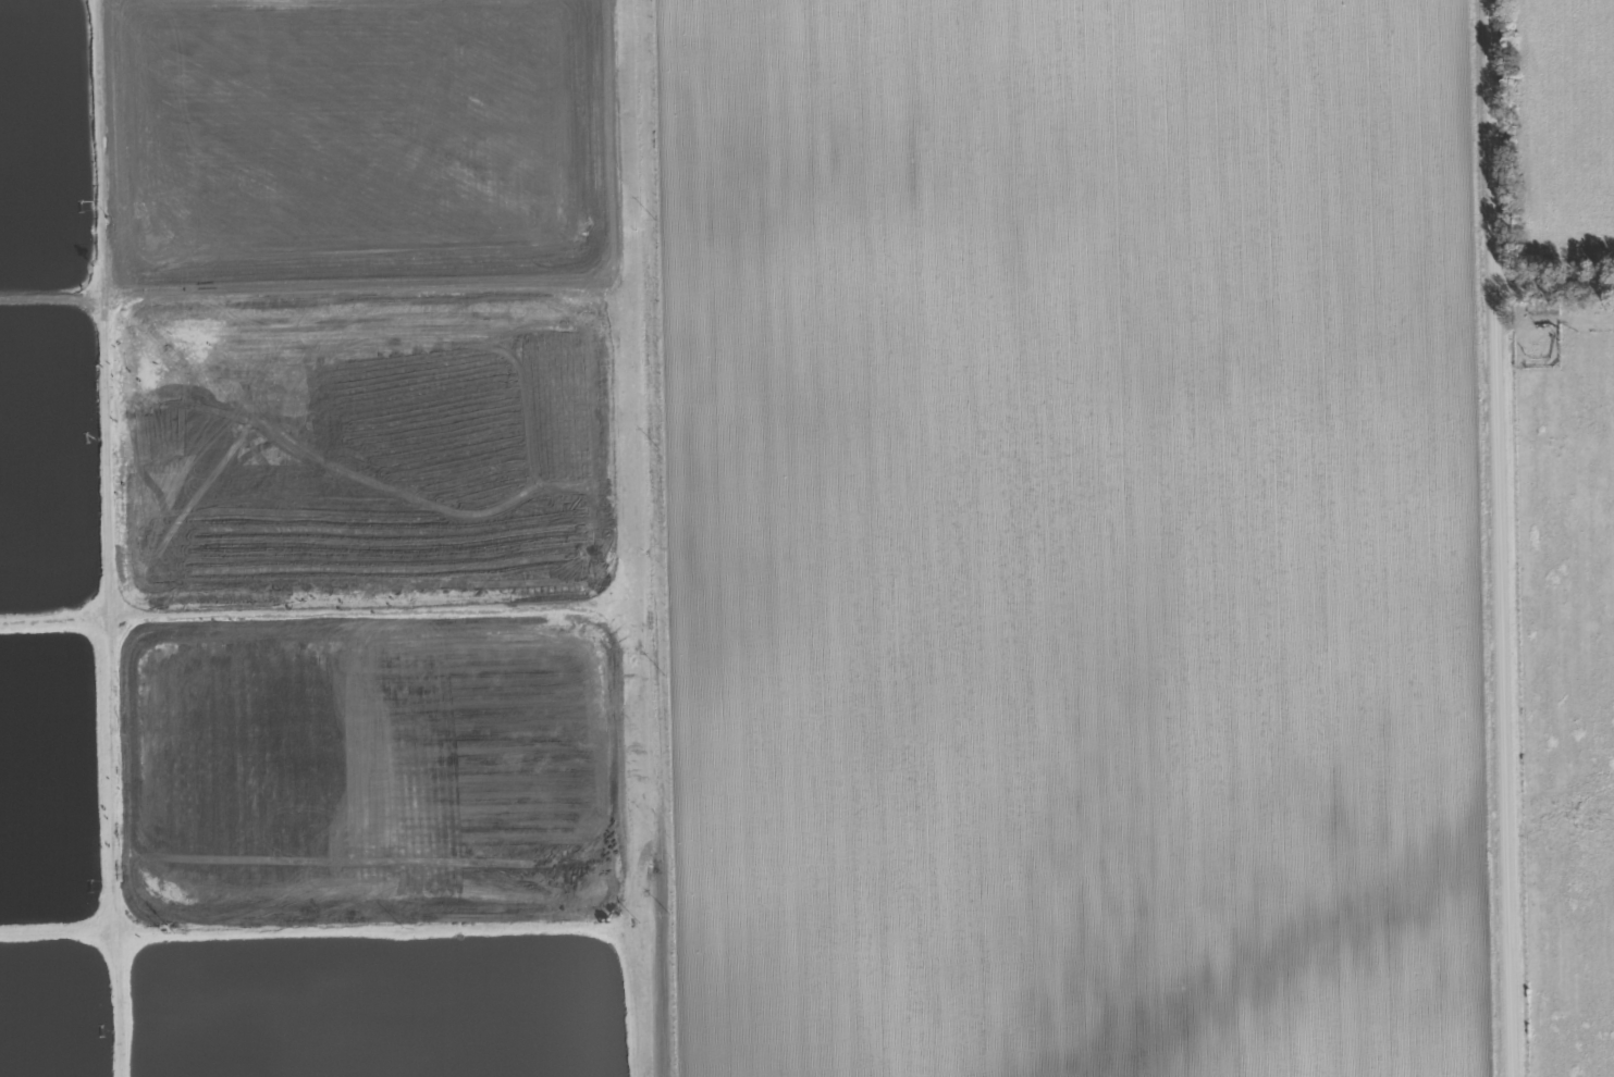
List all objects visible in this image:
road: (1554, 282)
road: (1501, 538)

